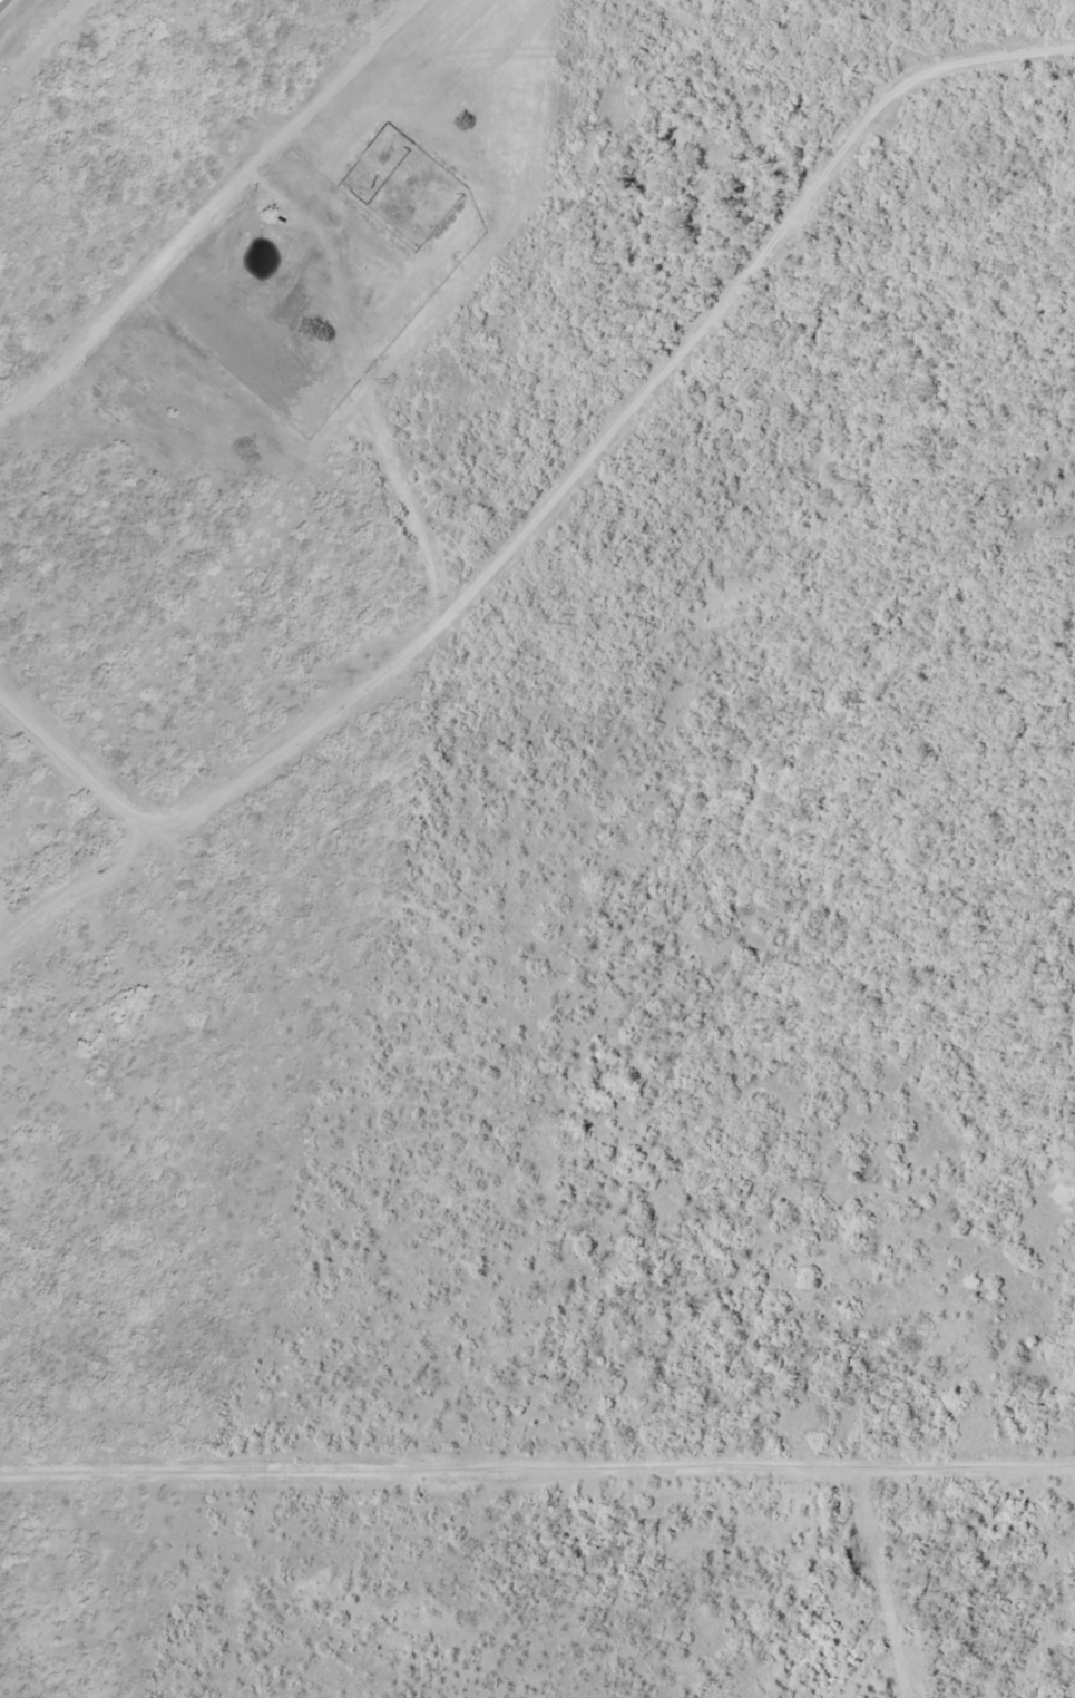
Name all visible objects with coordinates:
power tower: (599, 126)
road: (197, 217)
power tower: (388, 380)
road: (537, 504)
power tower: (176, 634)
road: (47, 806)
road: (537, 1438)

